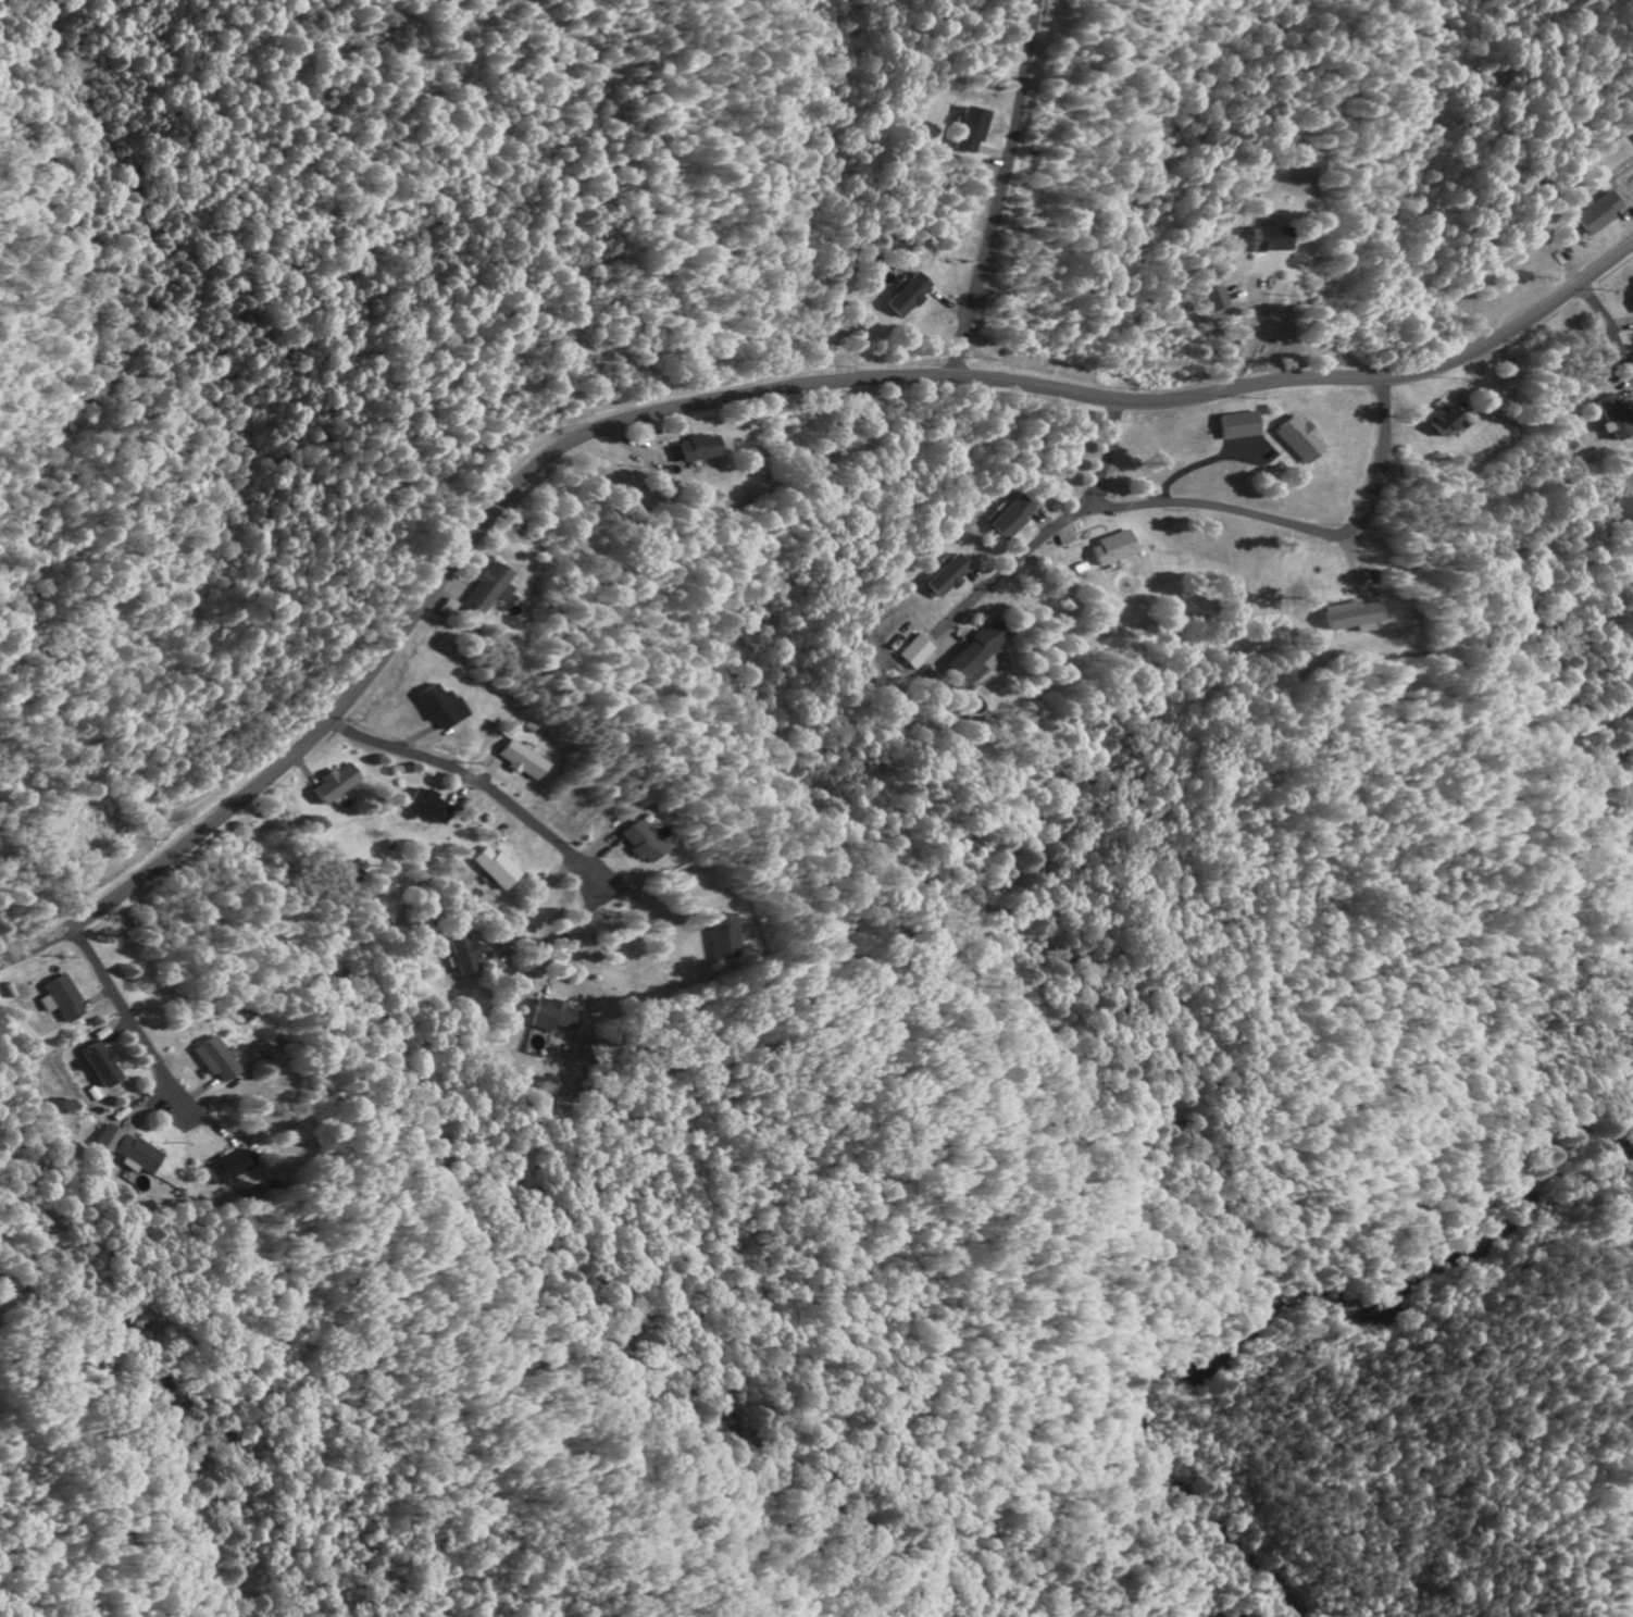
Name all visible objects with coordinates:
building: (968, 130)
road: (1001, 189)
building: (1595, 214)
building: (1255, 239)
building: (903, 297)
building: (1212, 299)
building: (1631, 300)
road: (1606, 332)
road: (730, 401)
building: (1609, 418)
building: (1435, 421)
building: (1232, 426)
building: (1292, 439)
building: (690, 449)
building: (1620, 512)
building: (1007, 518)
road: (1298, 524)
road: (1055, 526)
building: (1108, 550)
building: (945, 577)
building: (475, 590)
building: (1344, 618)
building: (911, 654)
building: (973, 657)
building: (431, 708)
building: (511, 761)
road: (475, 783)
building: (329, 784)
building: (424, 807)
building: (626, 843)
building: (493, 869)
building: (708, 938)
building: (459, 953)
building: (65, 1000)
road: (123, 1015)
building: (551, 1017)
building: (213, 1061)
building: (104, 1065)
building: (135, 1152)
building: (227, 1167)

